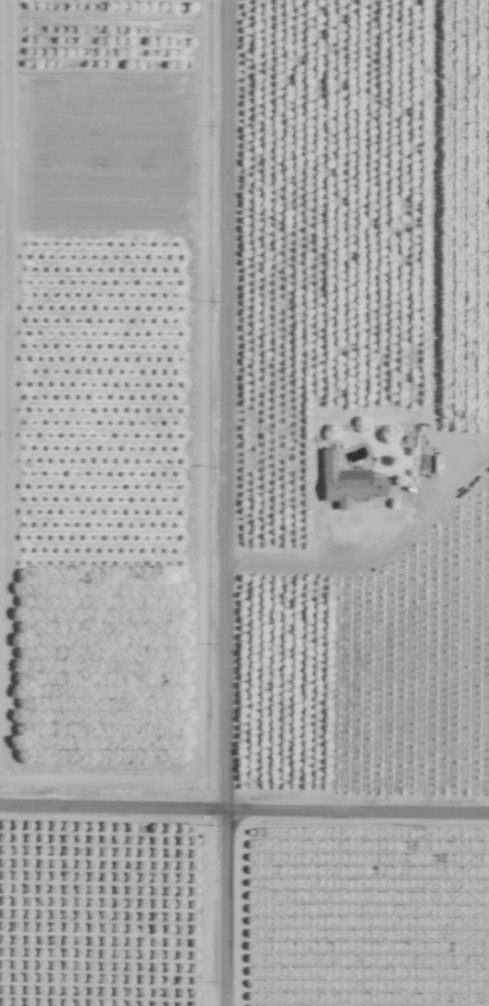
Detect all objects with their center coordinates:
building: (345, 483)
road: (230, 503)
road: (318, 559)
road: (244, 817)

